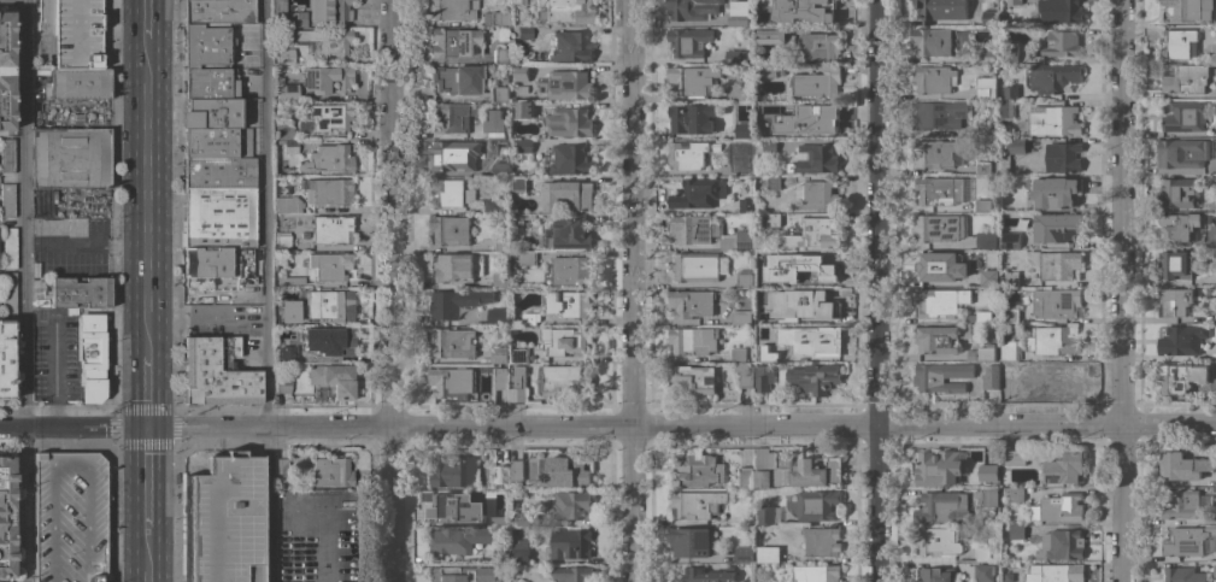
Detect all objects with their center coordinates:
building: (518, 2)
building: (1014, 2)
road: (148, 4)
building: (695, 8)
building: (452, 10)
building: (801, 10)
building: (941, 10)
building: (1187, 10)
building: (218, 11)
building: (330, 11)
building: (566, 11)
building: (1062, 11)
building: (34, 16)
building: (286, 16)
building: (992, 17)
building: (500, 18)
building: (738, 18)
building: (524, 33)
building: (76, 35)
parking lot: (76, 35)
building: (771, 35)
building: (933, 40)
building: (322, 41)
building: (688, 41)
building: (454, 42)
building: (1059, 42)
building: (1180, 43)
building: (821, 45)
building: (570, 47)
building: (1009, 53)
building: (986, 54)
building: (500, 55)
building: (738, 55)
building: (286, 57)
building: (207, 61)
building: (766, 69)
building: (6, 70)
building: (522, 72)
building: (1053, 77)
building: (692, 78)
building: (934, 78)
building: (1187, 78)
building: (328, 80)
building: (457, 80)
building: (818, 82)
building: (78, 84)
building: (569, 84)
building: (987, 87)
building: (523, 88)
building: (1215, 89)
building: (287, 92)
building: (738, 92)
building: (1011, 92)
building: (501, 94)
building: (524, 108)
building: (769, 108)
building: (1008, 108)
building: (940, 114)
building: (327, 116)
building: (1185, 116)
building: (692, 117)
building: (450, 118)
building: (812, 119)
building: (494, 120)
building: (1053, 120)
building: (569, 122)
building: (1023, 125)
building: (741, 129)
building: (283, 130)
building: (986, 130)
building: (217, 142)
building: (524, 145)
building: (769, 145)
building: (1017, 145)
building: (288, 146)
building: (736, 149)
building: (936, 152)
building: (687, 153)
building: (1181, 153)
building: (456, 154)
building: (1063, 155)
building: (6, 157)
building: (569, 158)
building: (813, 158)
building: (71, 159)
building: (327, 159)
building: (1005, 164)
building: (501, 166)
building: (983, 166)
building: (739, 167)
building: (218, 172)
building: (773, 181)
building: (518, 184)
building: (1062, 189)
road: (147, 190)
building: (940, 190)
building: (329, 192)
building: (448, 192)
building: (699, 192)
building: (1177, 193)
building: (817, 194)
building: (566, 195)
building: (6, 201)
building: (40, 202)
building: (747, 204)
building: (1010, 204)
building: (287, 205)
building: (490, 205)
building: (982, 205)
road: (265, 212)
building: (218, 217)
building: (773, 218)
building: (938, 227)
building: (1180, 227)
building: (1058, 228)
building: (450, 229)
building: (331, 230)
building: (709, 231)
building: (572, 233)
building: (816, 234)
building: (304, 235)
building: (987, 240)
building: (1011, 240)
building: (281, 241)
building: (503, 241)
road: (86, 242)
building: (8, 247)
building: (524, 257)
building: (218, 263)
building: (1056, 263)
building: (1177, 263)
building: (936, 264)
building: (695, 265)
building: (818, 265)
building: (330, 266)
building: (454, 268)
building: (571, 270)
building: (987, 277)
building: (746, 278)
building: (764, 278)
building: (501, 280)
building: (1010, 280)
building: (225, 281)
road: (25, 290)
road: (389, 290)
road: (630, 290)
road: (876, 290)
road: (1121, 290)
building: (78, 292)
building: (8, 293)
building: (456, 301)
building: (941, 301)
building: (1174, 301)
building: (570, 302)
building: (692, 302)
building: (1057, 302)
building: (801, 304)
building: (330, 305)
building: (495, 314)
building: (1011, 314)
building: (741, 316)
building: (980, 316)
building: (283, 318)
building: (531, 318)
building: (936, 339)
building: (565, 340)
building: (693, 340)
building: (813, 340)
building: (1055, 340)
building: (1182, 340)
building: (331, 341)
building: (452, 342)
building: (1010, 349)
building: (742, 353)
building: (982, 353)
building: (499, 354)
building: (521, 354)
building: (287, 355)
building: (768, 355)
building: (89, 357)
road: (54, 358)
building: (6, 359)
building: (745, 372)
building: (216, 374)
building: (764, 376)
building: (942, 376)
building: (991, 376)
building: (501, 377)
building: (816, 377)
building: (1175, 377)
building: (566, 378)
building: (693, 378)
building: (1053, 378)
building: (333, 380)
building: (1008, 380)
building: (452, 382)
building: (518, 383)
building: (282, 384)
road: (146, 399)
road: (680, 424)
traffic signals: (146, 425)
road: (72, 427)
road: (145, 452)
building: (1015, 457)
building: (1183, 465)
building: (280, 466)
building: (935, 466)
building: (763, 468)
building: (517, 469)
building: (697, 469)
building: (1065, 469)
building: (807, 470)
building: (454, 471)
building: (566, 471)
building: (988, 471)
building: (330, 472)
building: (503, 472)
building: (746, 476)
building: (1017, 494)
building: (991, 496)
building: (1186, 502)
road: (265, 504)
building: (452, 504)
building: (697, 504)
building: (817, 504)
building: (572, 505)
building: (942, 507)
building: (1059, 507)
building: (769, 515)
building: (5, 517)
building: (67, 517)
building: (499, 518)
building: (225, 519)
building: (524, 519)
road: (145, 530)
building: (1017, 531)
building: (456, 540)
building: (936, 540)
building: (1187, 540)
building: (691, 541)
building: (822, 541)
building: (570, 543)
building: (1062, 543)
building: (521, 551)
building: (982, 553)
building: (503, 554)
building: (741, 554)
building: (771, 554)
building: (986, 571)
building: (817, 572)
building: (1056, 572)
building: (453, 574)
building: (572, 574)
building: (1183, 574)
building: (705, 575)
building: (936, 575)
building: (494, 581)

